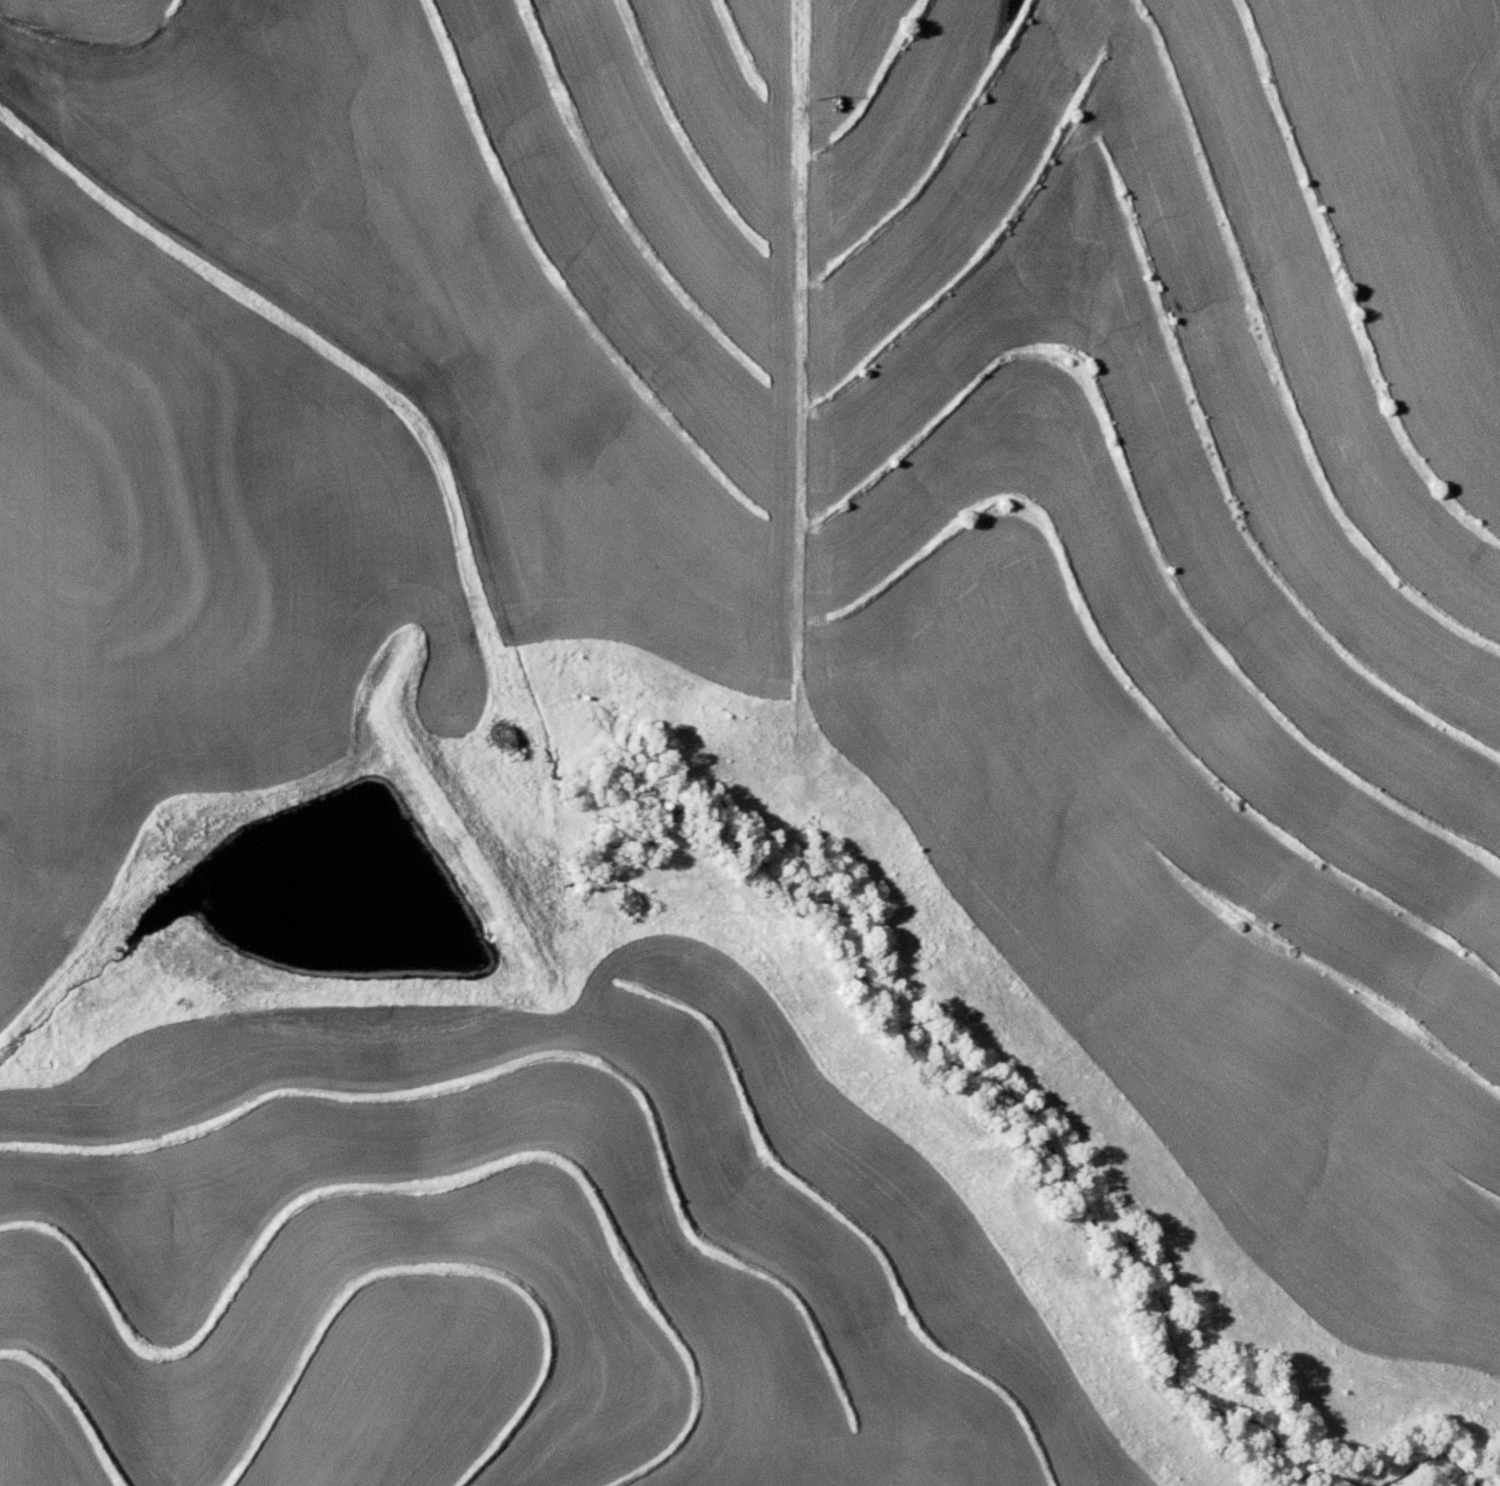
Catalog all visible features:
road: (97, 1114)

